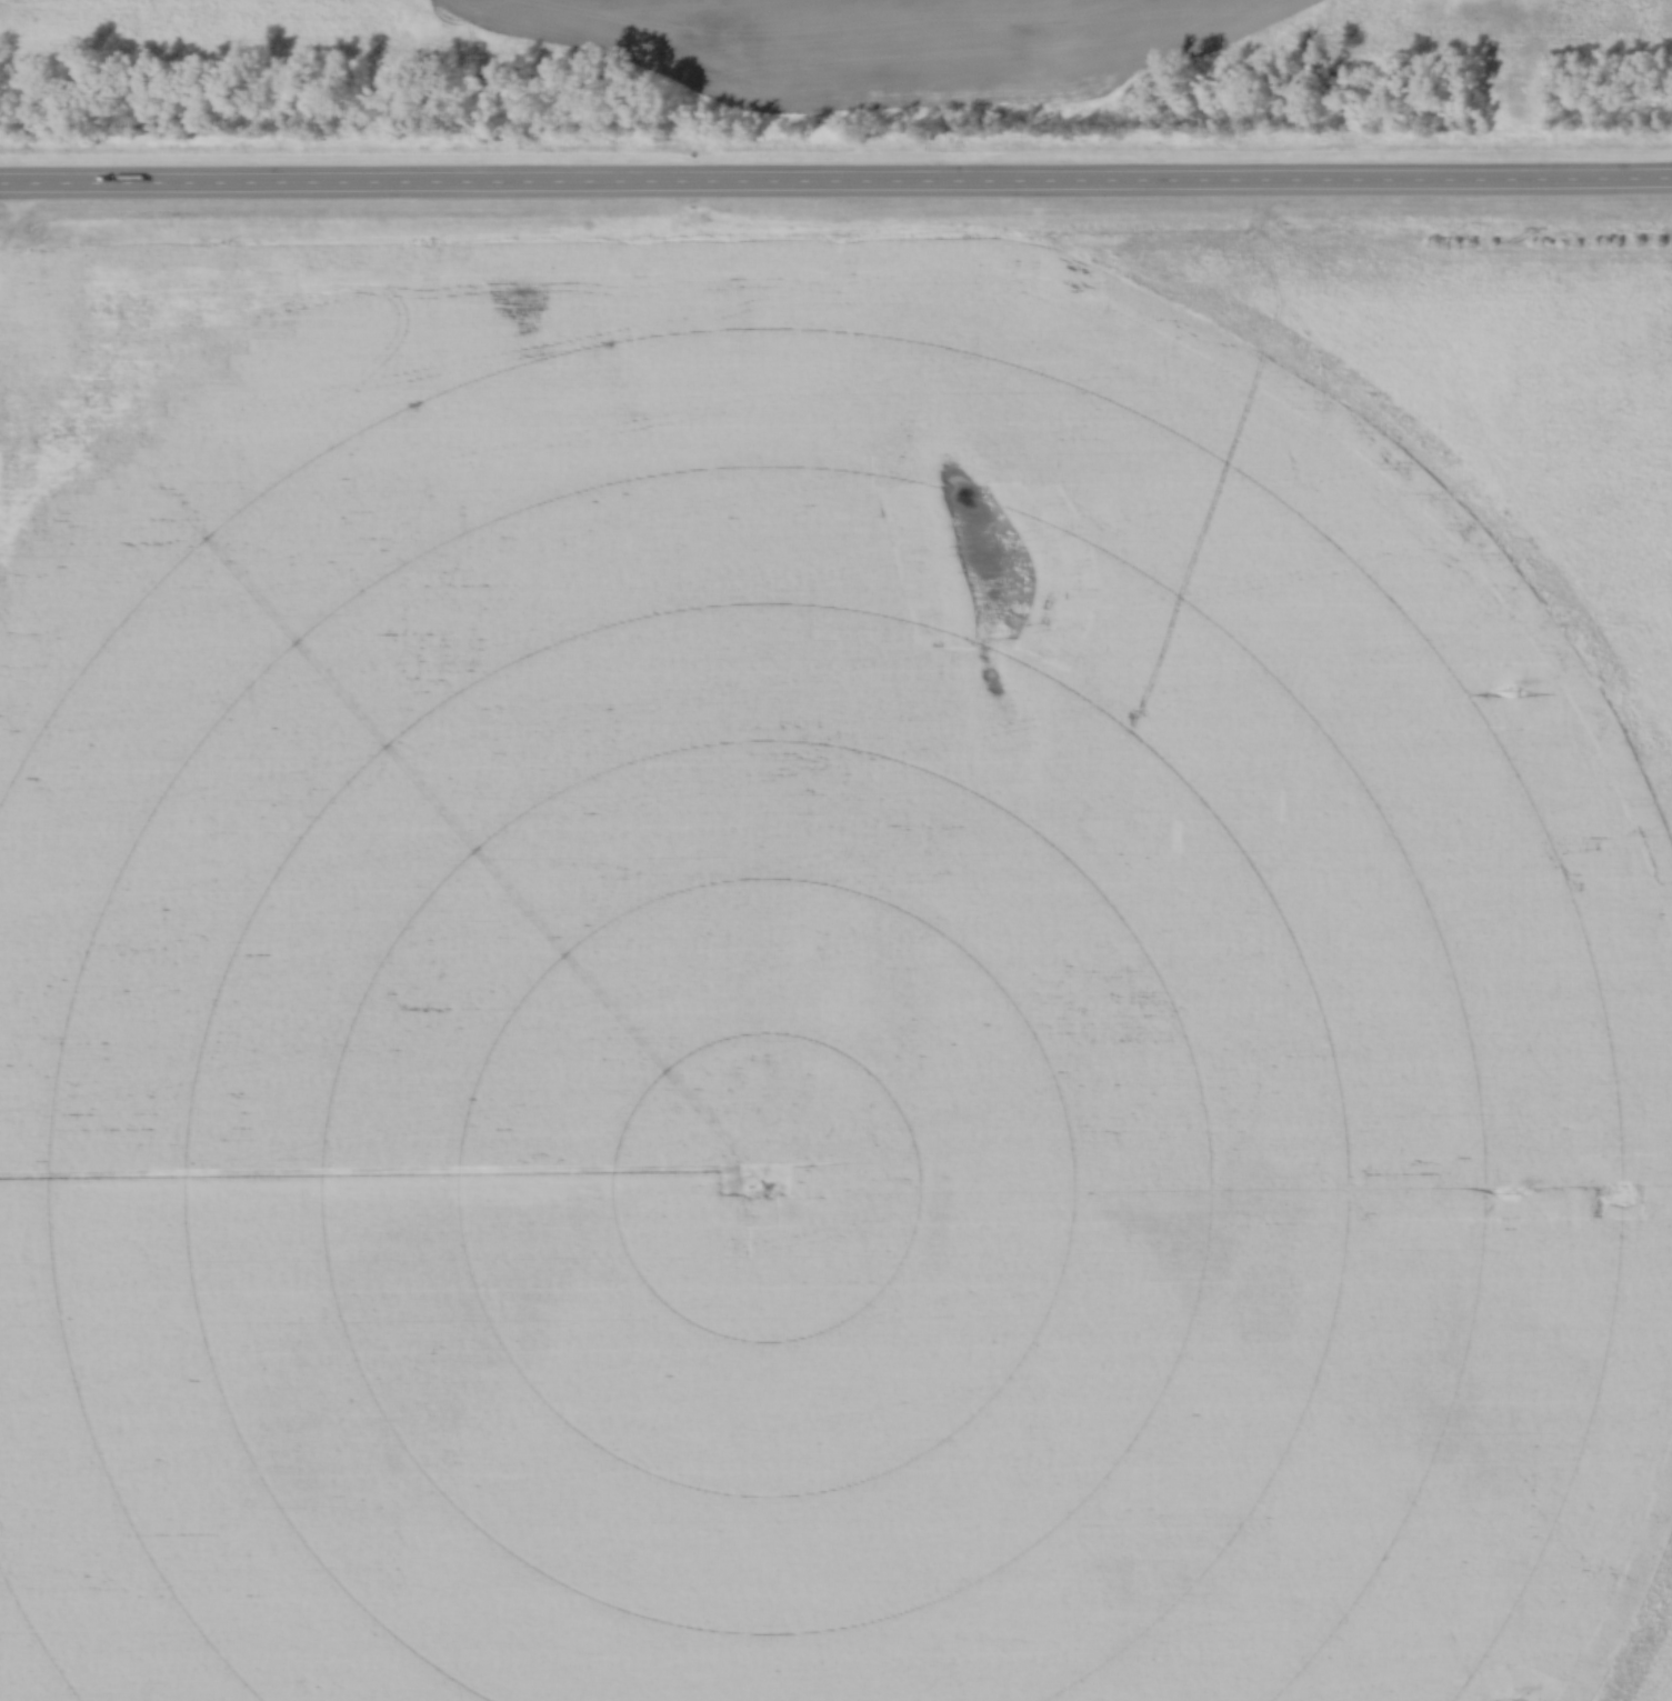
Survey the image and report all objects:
road: (835, 184)
power tower: (1512, 244)
power tower: (1512, 692)
power tower: (1509, 1195)
power tower: (1508, 1700)

